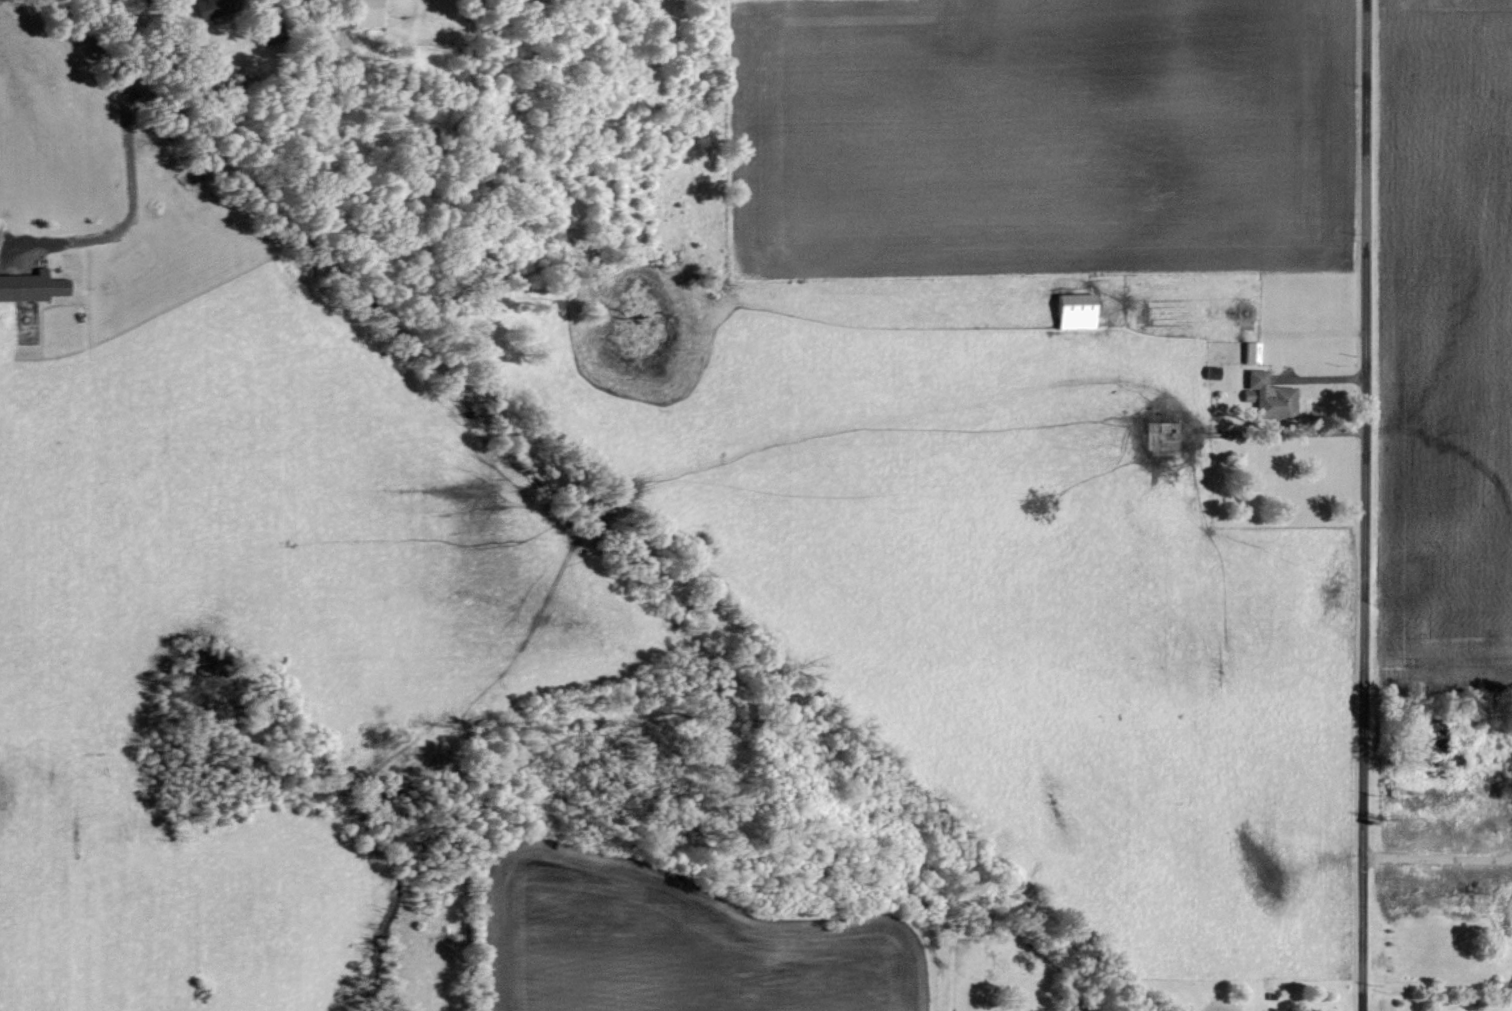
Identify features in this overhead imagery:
building: (208, 8)
building: (369, 13)
building: (32, 287)
building: (1077, 310)
building: (1253, 352)
building: (1213, 371)
building: (1269, 393)
road: (1361, 505)
road: (1509, 856)
road: (1431, 858)
road: (1509, 859)

